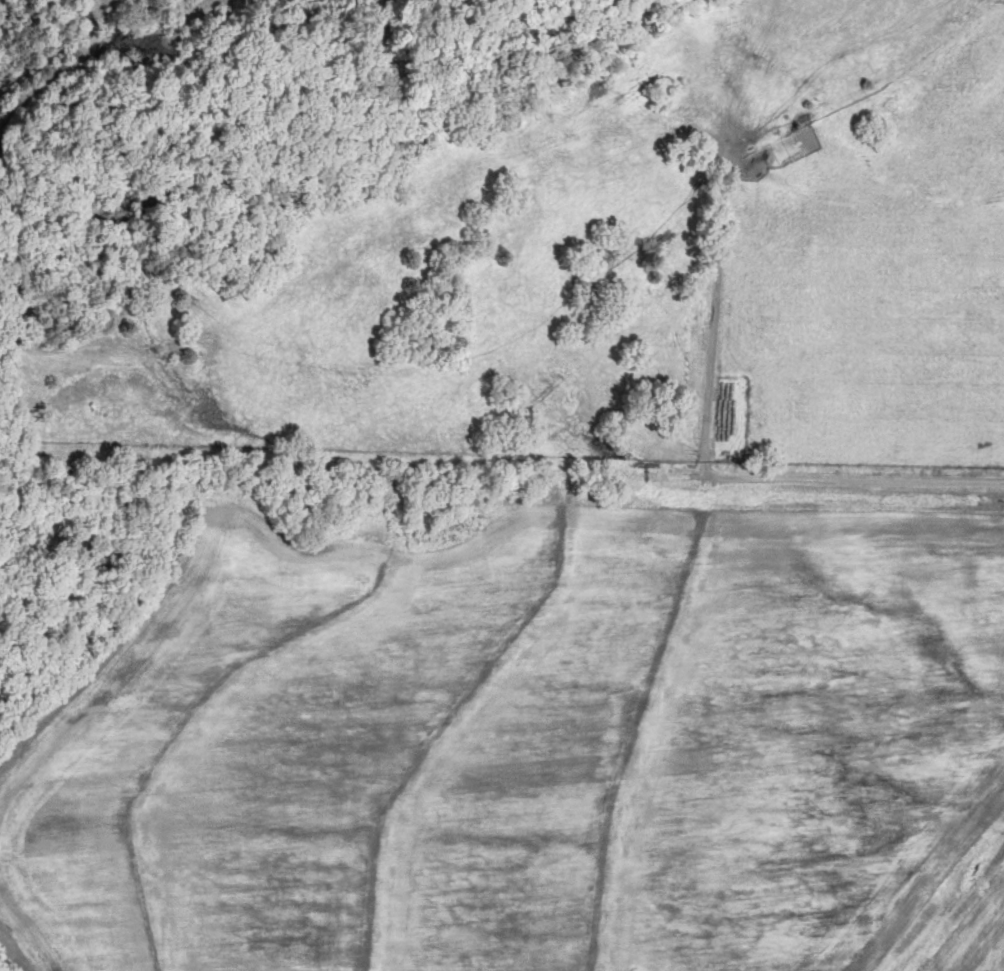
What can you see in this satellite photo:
road: (862, 479)

